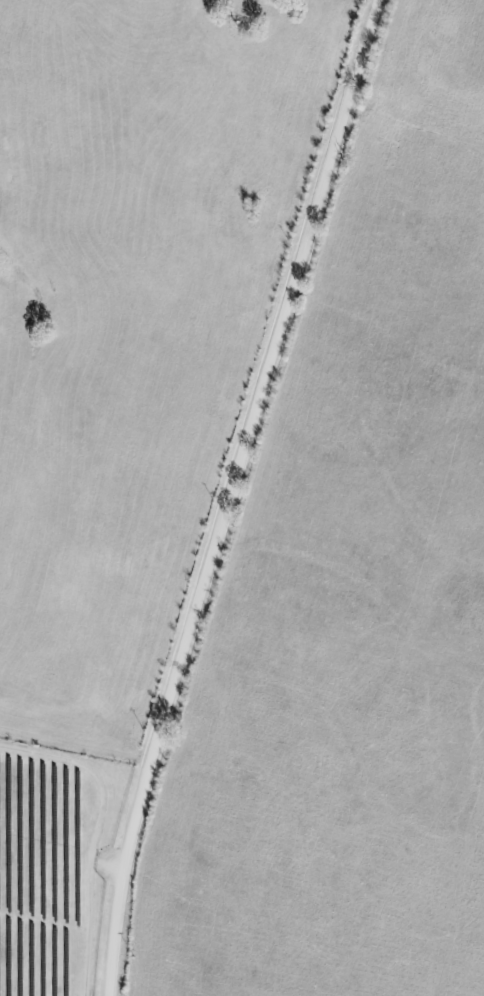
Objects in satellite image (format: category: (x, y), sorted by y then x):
road: (229, 494)

